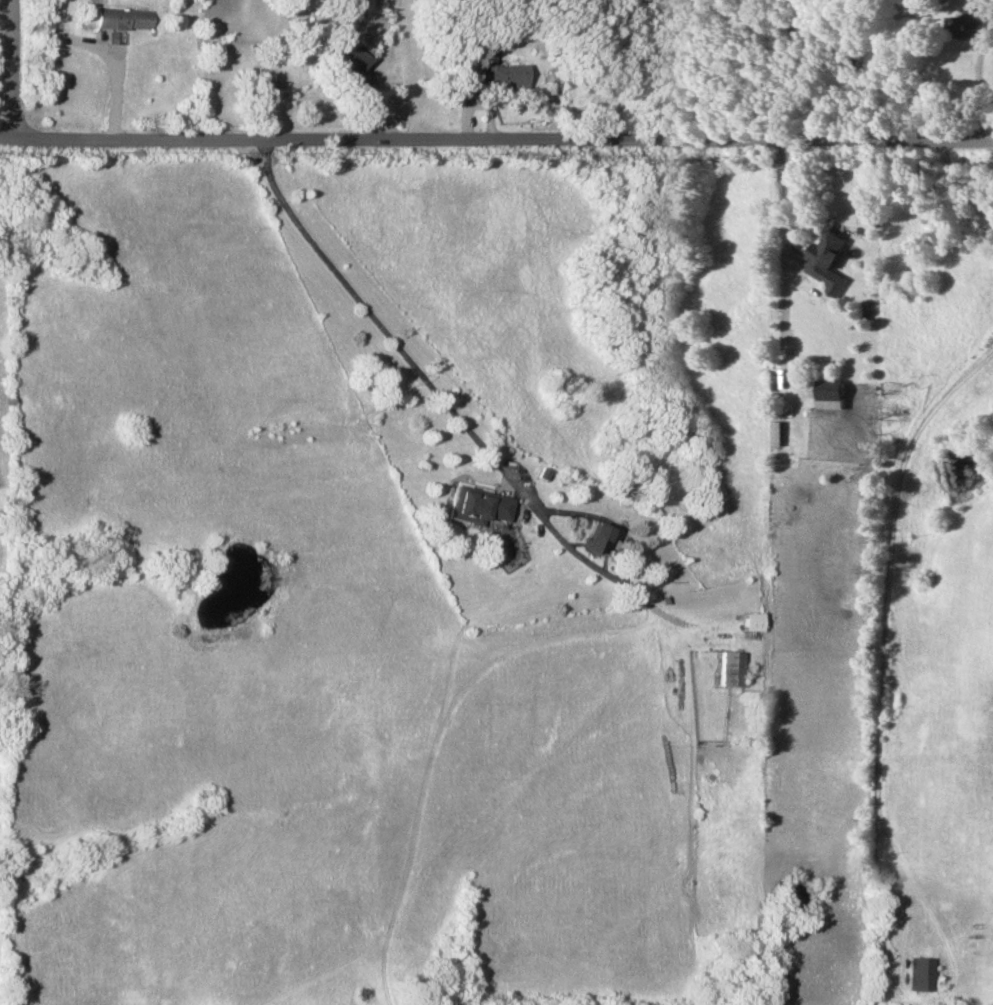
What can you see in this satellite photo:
building: (121, 18)
building: (967, 22)
road: (109, 52)
building: (344, 55)
road: (6, 71)
building: (505, 74)
road: (981, 80)
building: (465, 84)
building: (262, 88)
road: (496, 139)
road: (966, 182)
road: (782, 258)
building: (827, 261)
building: (828, 394)
road: (471, 431)
building: (476, 506)
building: (594, 538)
building: (747, 621)
road: (883, 661)
building: (726, 668)
building: (920, 973)

